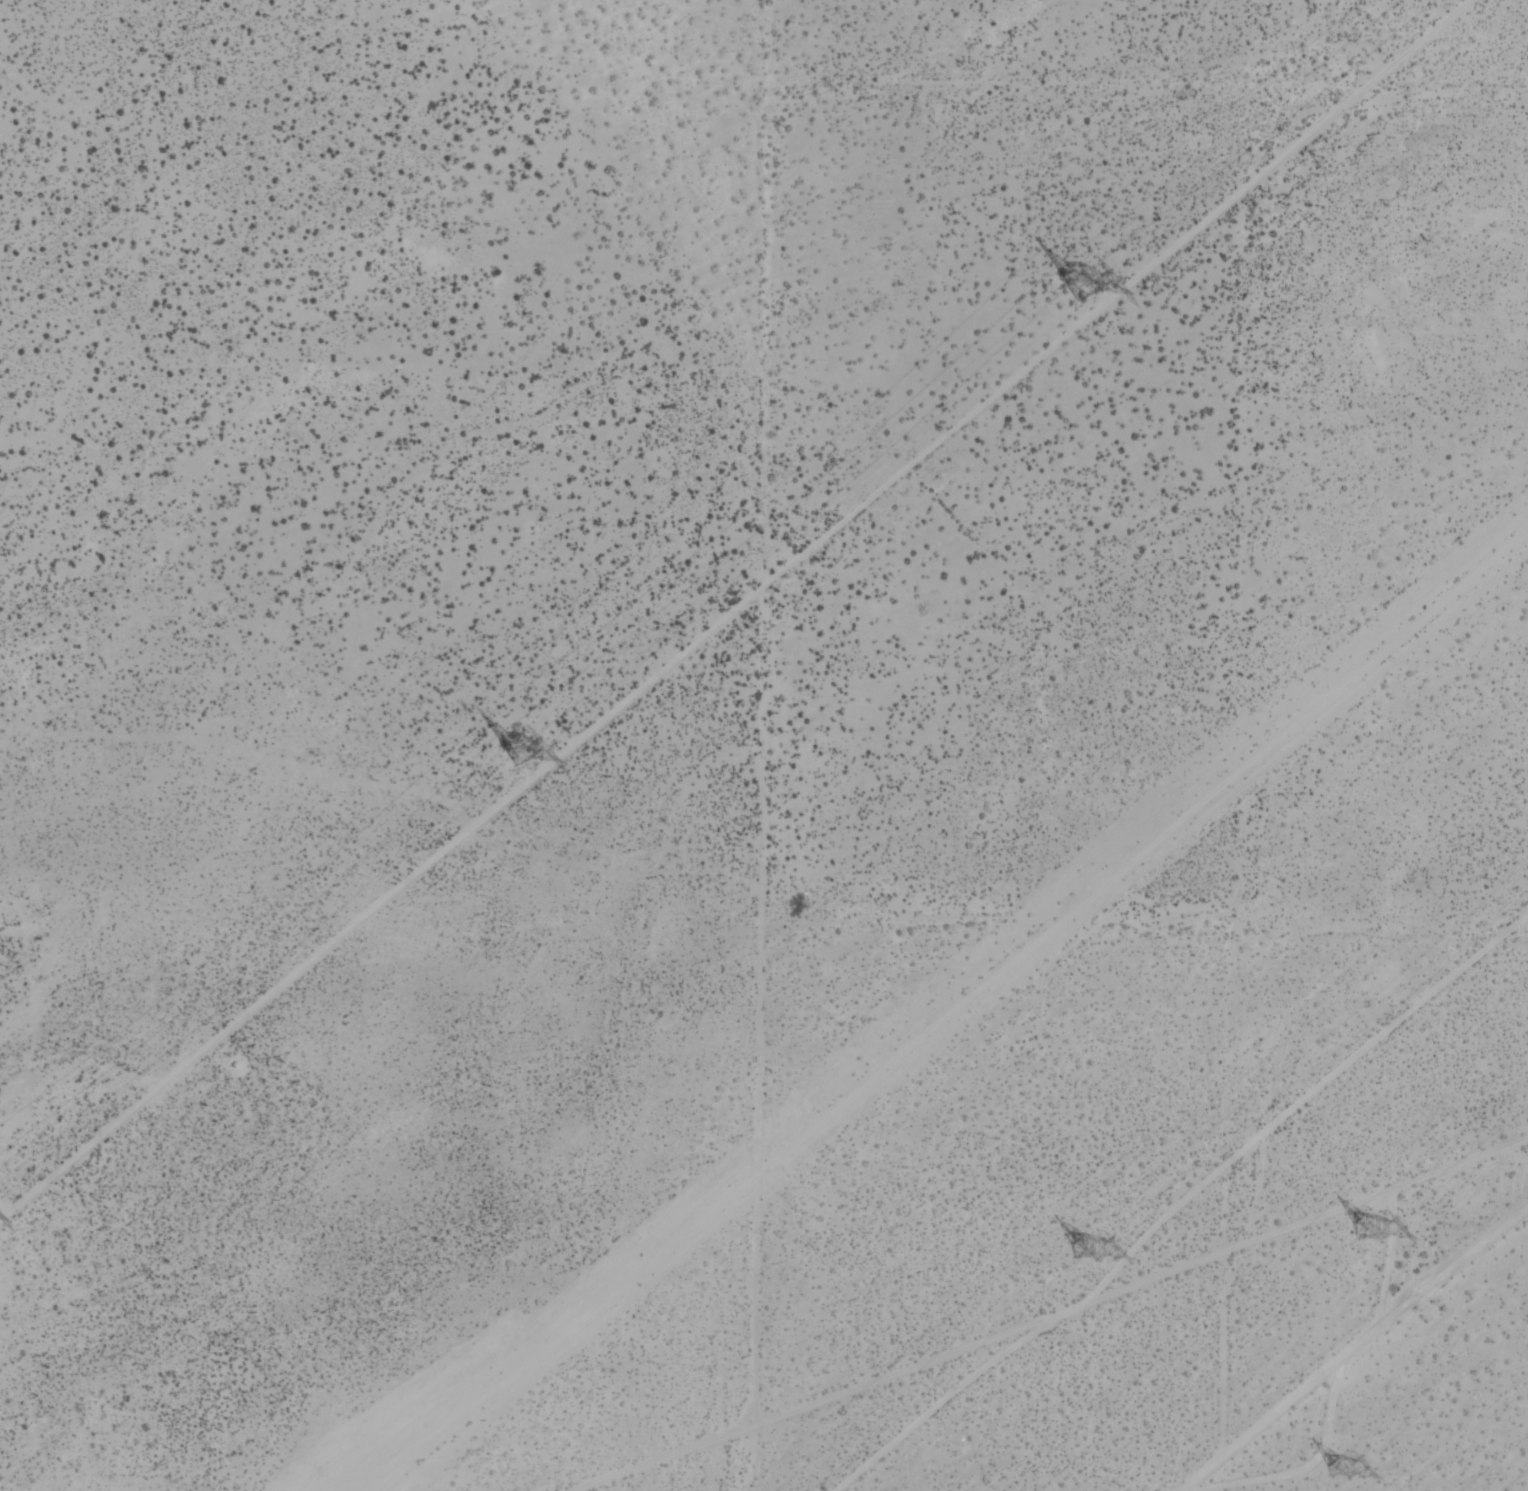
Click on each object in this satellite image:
power tower: (1071, 275)
power tower: (528, 747)
power tower: (1357, 1231)
power tower: (1087, 1242)
road: (1343, 1336)
power tower: (1356, 1461)

